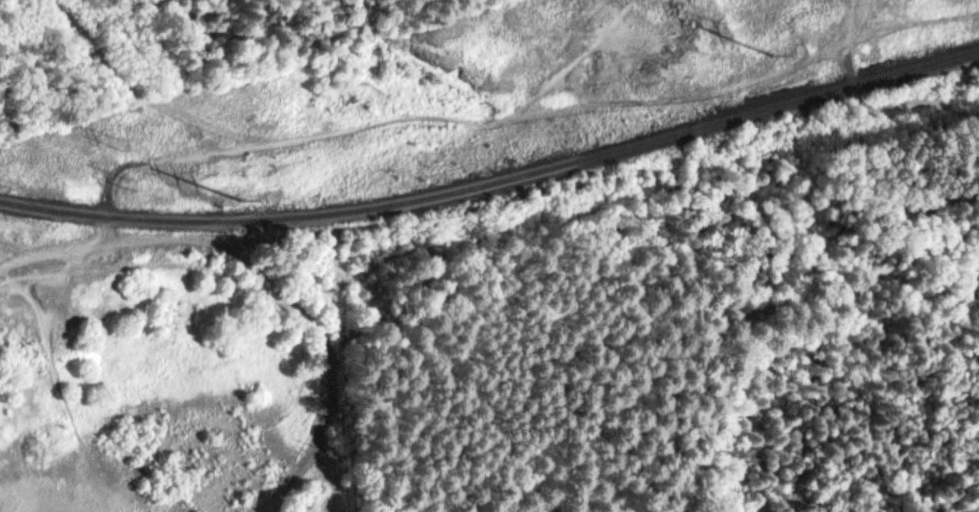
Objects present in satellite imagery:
power tower: (718, 24)
power tower: (777, 55)
road: (868, 101)
road: (434, 112)
power tower: (127, 142)
road: (779, 172)
power tower: (137, 180)
railway: (496, 180)
power tower: (244, 200)
road: (969, 213)
road: (261, 285)
road: (810, 287)
road: (575, 357)

